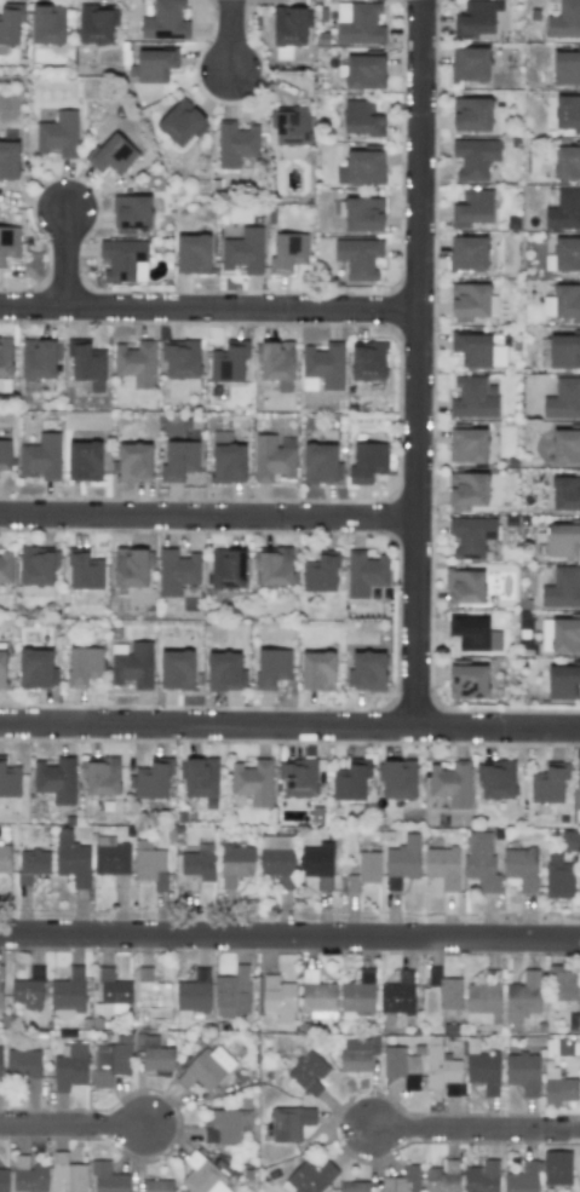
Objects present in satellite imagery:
building: (476, 17)
building: (564, 19)
building: (165, 21)
building: (10, 23)
building: (96, 23)
building: (358, 23)
building: (47, 24)
building: (291, 27)
road: (229, 36)
building: (155, 63)
building: (470, 63)
building: (565, 67)
building: (364, 71)
building: (567, 111)
building: (471, 114)
building: (361, 119)
building: (182, 122)
building: (288, 128)
building: (58, 134)
building: (236, 144)
building: (110, 154)
building: (473, 157)
building: (8, 160)
building: (567, 162)
building: (361, 168)
building: (472, 208)
building: (563, 211)
building: (131, 212)
building: (363, 213)
building: (8, 242)
building: (243, 251)
building: (287, 253)
building: (469, 253)
building: (193, 254)
building: (564, 255)
building: (358, 258)
road: (67, 259)
building: (124, 260)
building: (470, 300)
building: (567, 303)
road: (209, 310)
building: (564, 350)
building: (478, 351)
building: (5, 357)
building: (40, 358)
building: (182, 359)
building: (229, 361)
building: (368, 361)
building: (136, 363)
road: (419, 363)
building: (277, 364)
building: (322, 365)
building: (88, 367)
building: (472, 398)
building: (563, 399)
building: (467, 445)
building: (565, 447)
building: (5, 455)
building: (40, 456)
building: (179, 457)
building: (272, 457)
building: (228, 459)
building: (85, 461)
building: (368, 461)
building: (134, 462)
building: (321, 465)
building: (467, 489)
building: (565, 493)
road: (209, 520)
building: (471, 535)
building: (563, 539)
building: (5, 565)
building: (272, 565)
building: (36, 566)
building: (131, 568)
building: (226, 569)
building: (85, 570)
building: (177, 571)
building: (364, 572)
building: (320, 574)
building: (465, 587)
building: (562, 587)
building: (475, 634)
building: (561, 635)
building: (132, 664)
building: (84, 666)
building: (271, 667)
building: (2, 668)
building: (35, 668)
building: (177, 669)
building: (224, 670)
building: (317, 670)
building: (367, 672)
building: (467, 681)
building: (563, 681)
road: (289, 727)
building: (102, 776)
building: (201, 777)
building: (298, 777)
building: (496, 778)
building: (8, 779)
building: (56, 779)
building: (398, 779)
building: (151, 781)
building: (350, 781)
building: (253, 782)
building: (450, 783)
building: (549, 783)
building: (578, 785)
building: (570, 841)
building: (276, 856)
building: (5, 858)
building: (71, 859)
building: (111, 859)
building: (481, 860)
building: (402, 862)
building: (195, 863)
building: (149, 864)
building: (235, 864)
building: (317, 864)
building: (31, 865)
building: (442, 866)
building: (521, 868)
building: (364, 870)
building: (558, 877)
road: (289, 937)
building: (562, 983)
building: (0, 984)
building: (446, 989)
building: (28, 990)
building: (68, 991)
building: (232, 992)
building: (358, 992)
building: (111, 994)
building: (193, 995)
building: (397, 995)
building: (522, 996)
building: (153, 997)
building: (276, 997)
building: (317, 998)
building: (482, 1003)
building: (564, 1046)
building: (154, 1053)
building: (110, 1060)
building: (71, 1063)
building: (0, 1065)
building: (402, 1066)
building: (24, 1067)
building: (206, 1069)
building: (442, 1069)
building: (483, 1071)
building: (523, 1072)
building: (308, 1073)
building: (558, 1088)
road: (75, 1122)
building: (289, 1123)
building: (226, 1125)
road: (477, 1131)
building: (556, 1168)
building: (68, 1174)
building: (28, 1175)
building: (203, 1176)
building: (311, 1176)
building: (442, 1176)
building: (482, 1176)
building: (108, 1177)
building: (4, 1180)
building: (403, 1180)
building: (157, 1186)

